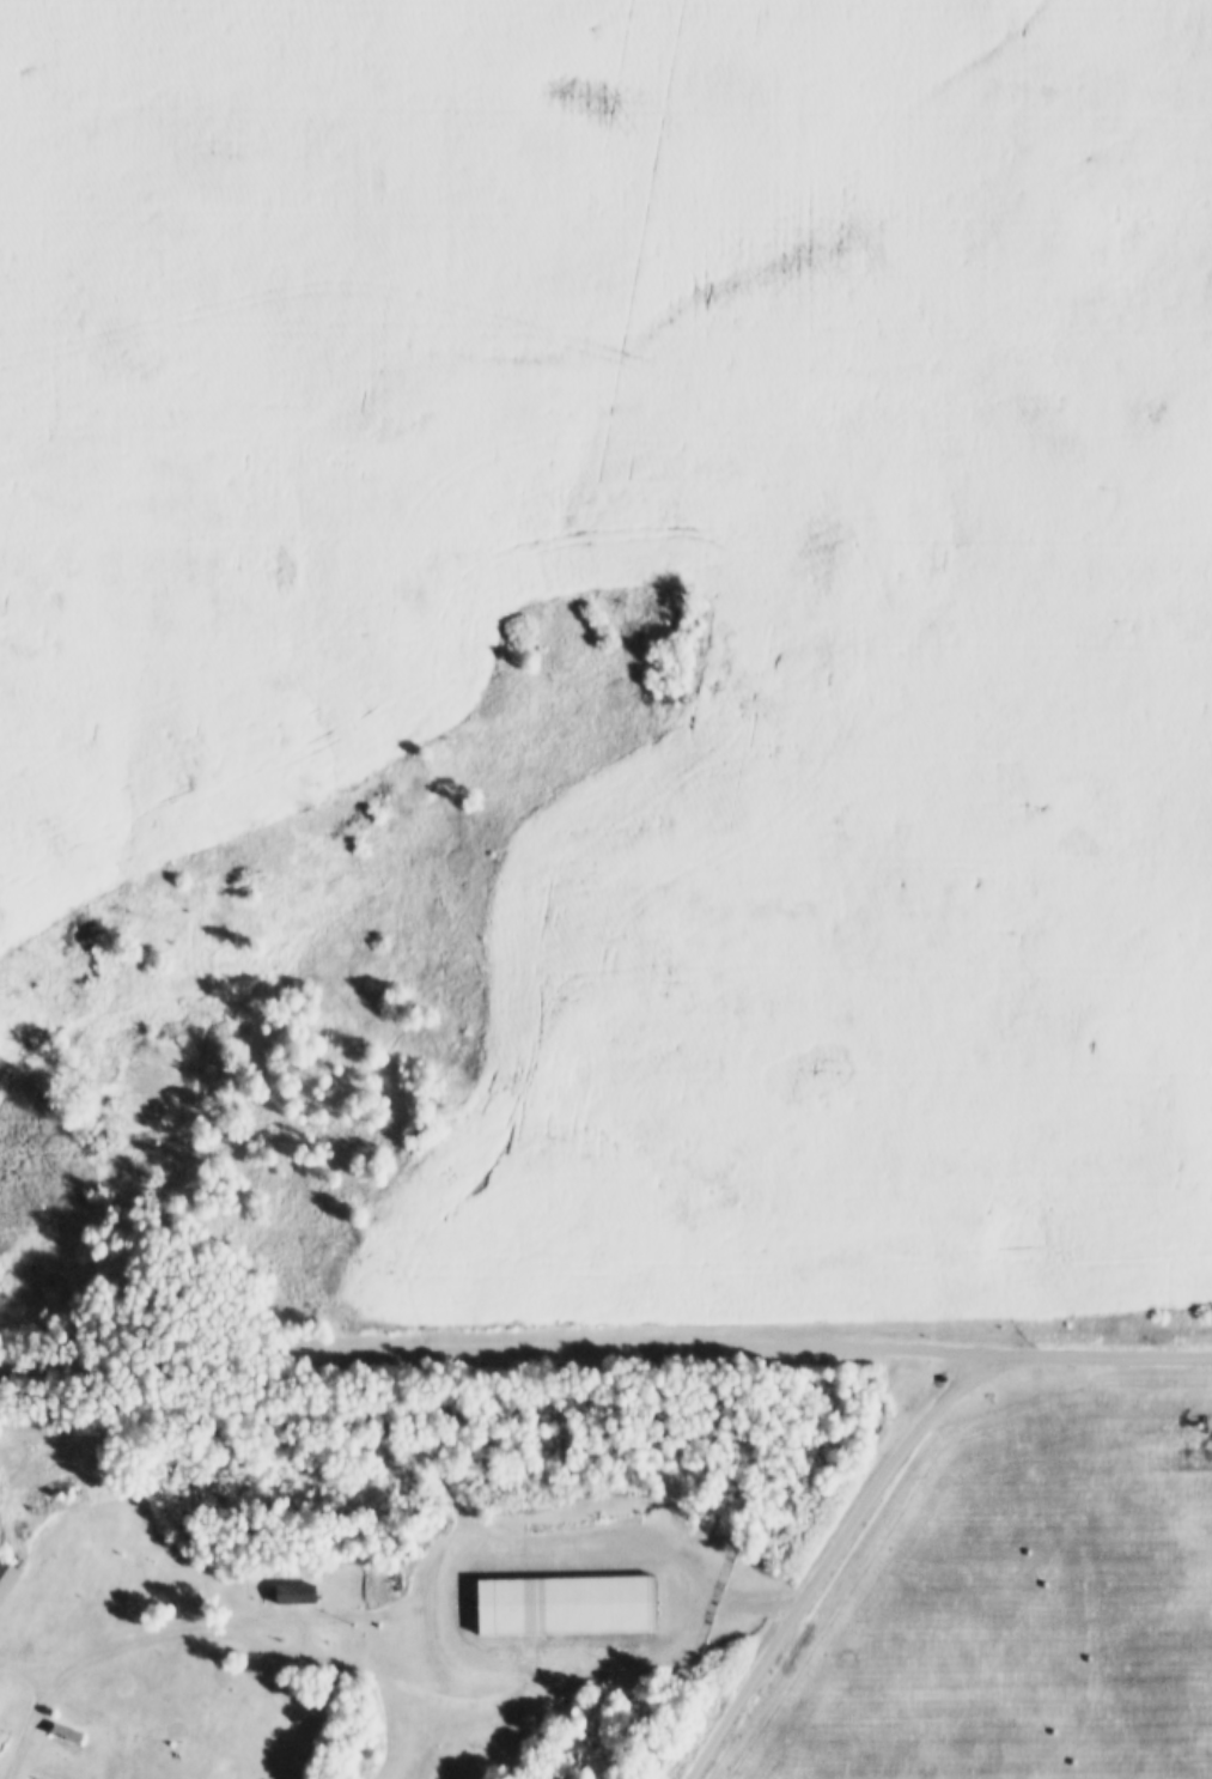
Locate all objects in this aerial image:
road: (491, 1356)
road: (1097, 1356)
road: (829, 1562)
building: (5, 1572)
building: (291, 1587)
road: (205, 1631)
road: (20, 1674)
building: (63, 1728)

